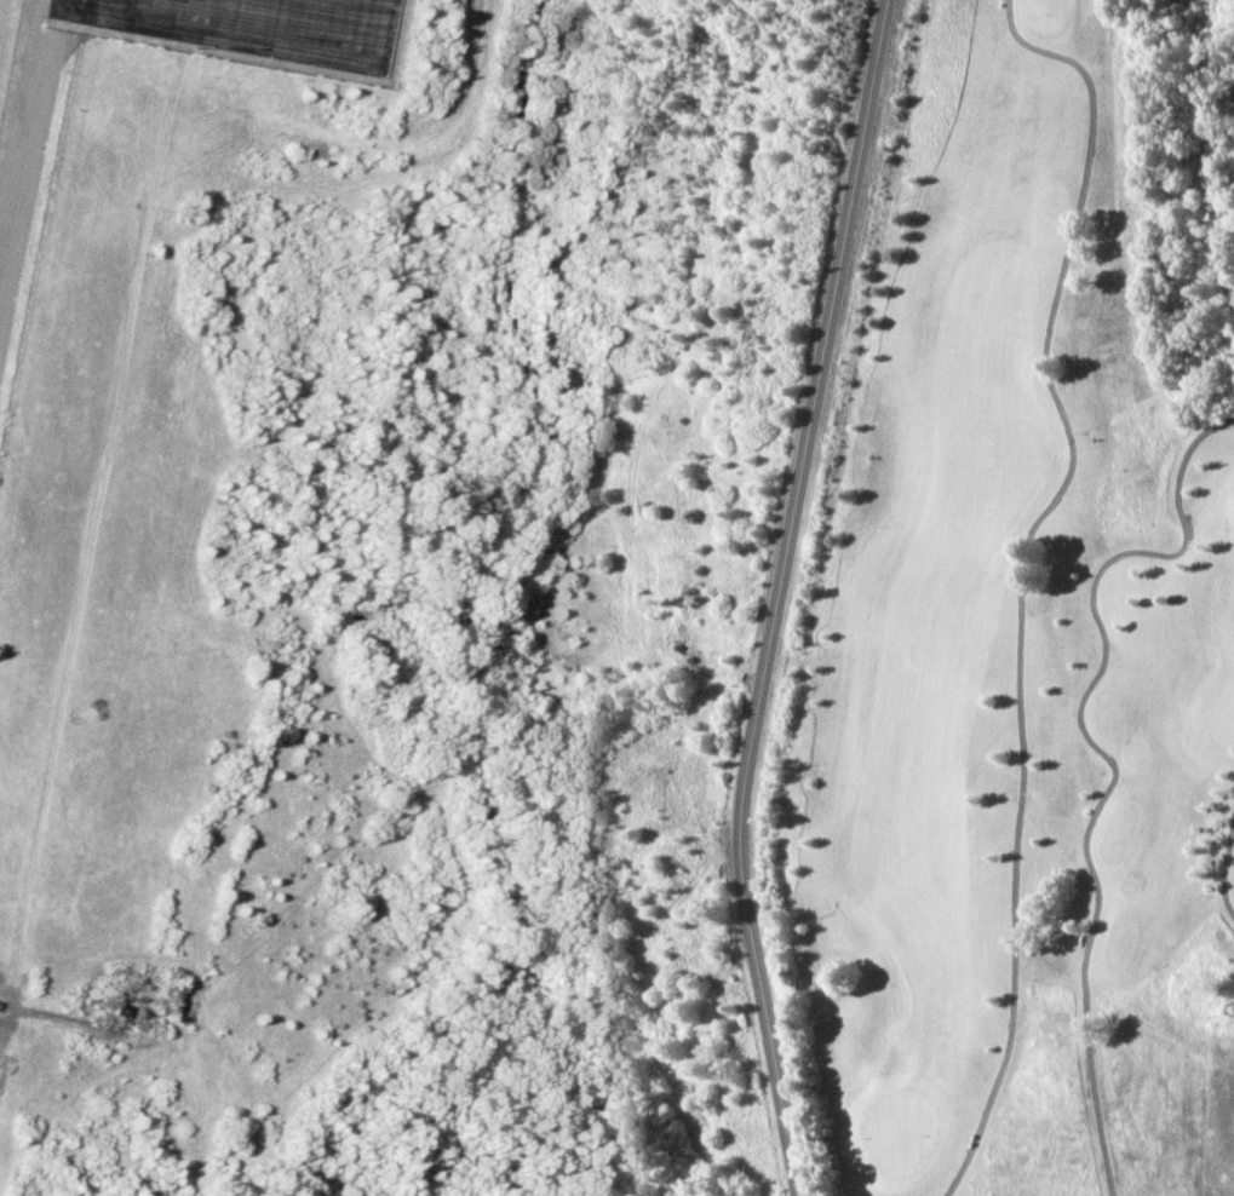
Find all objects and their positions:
road: (119, 378)
road: (785, 598)
park: (1024, 625)

